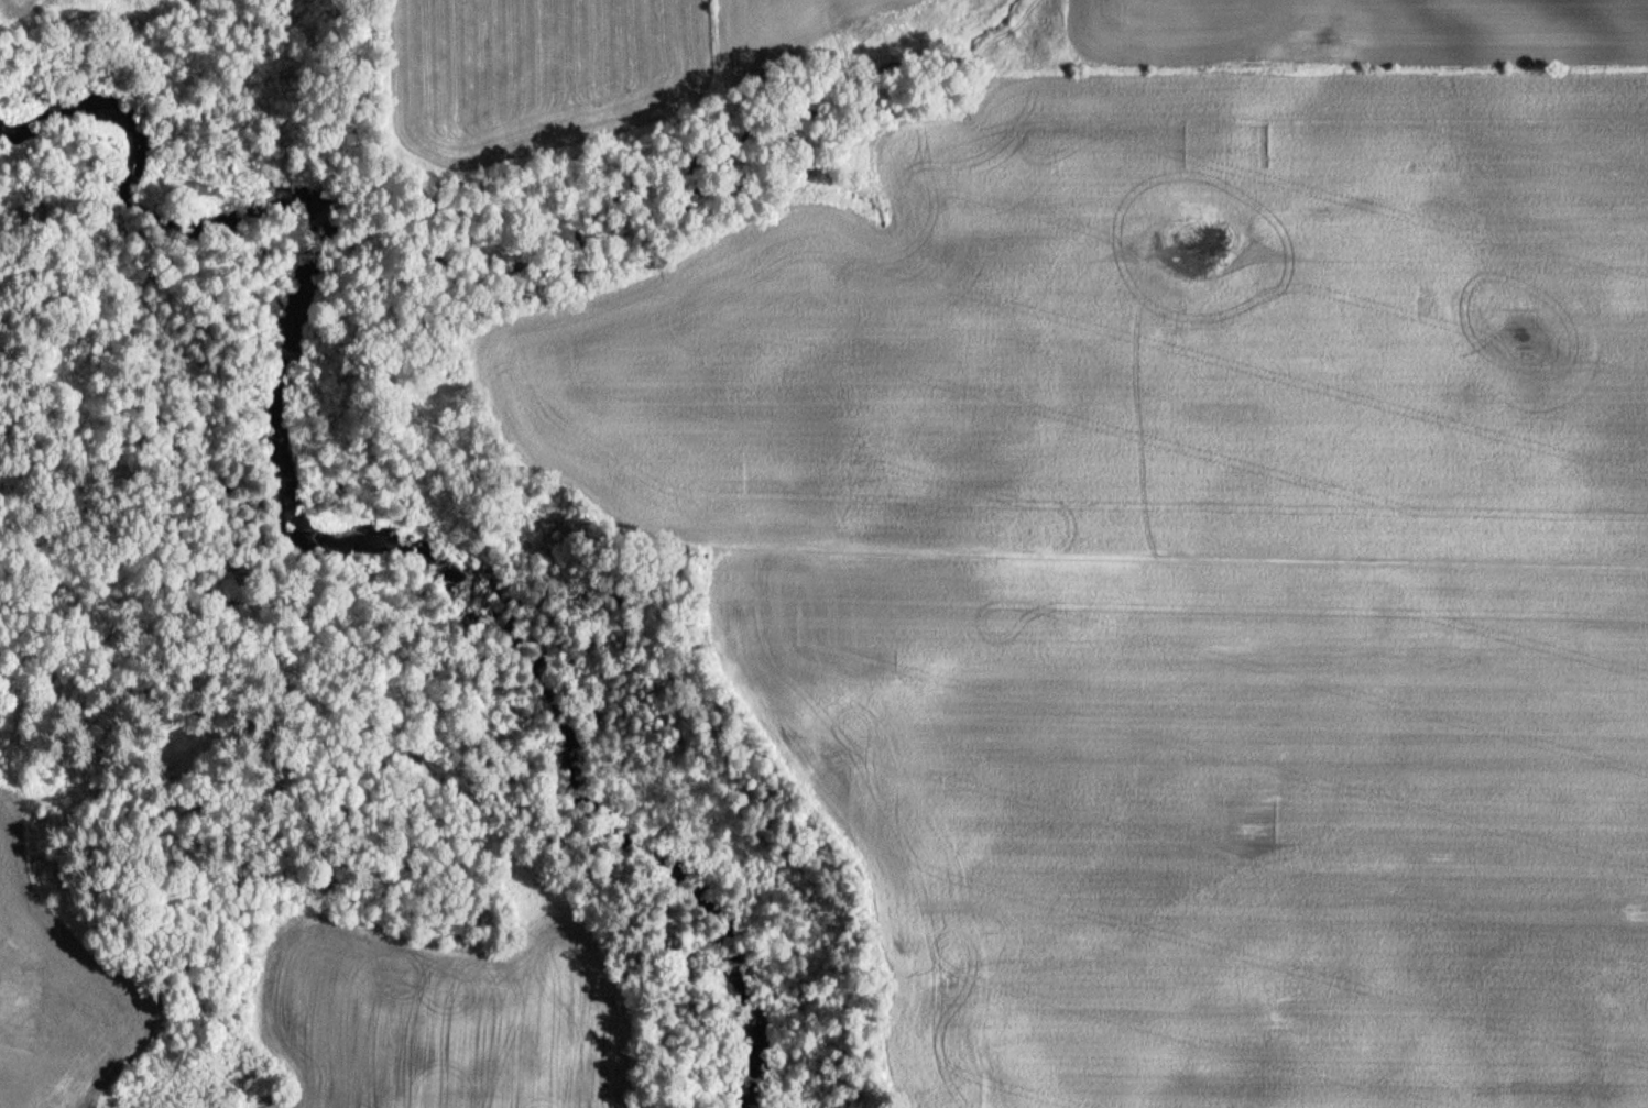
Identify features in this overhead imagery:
river: (328, 536)

